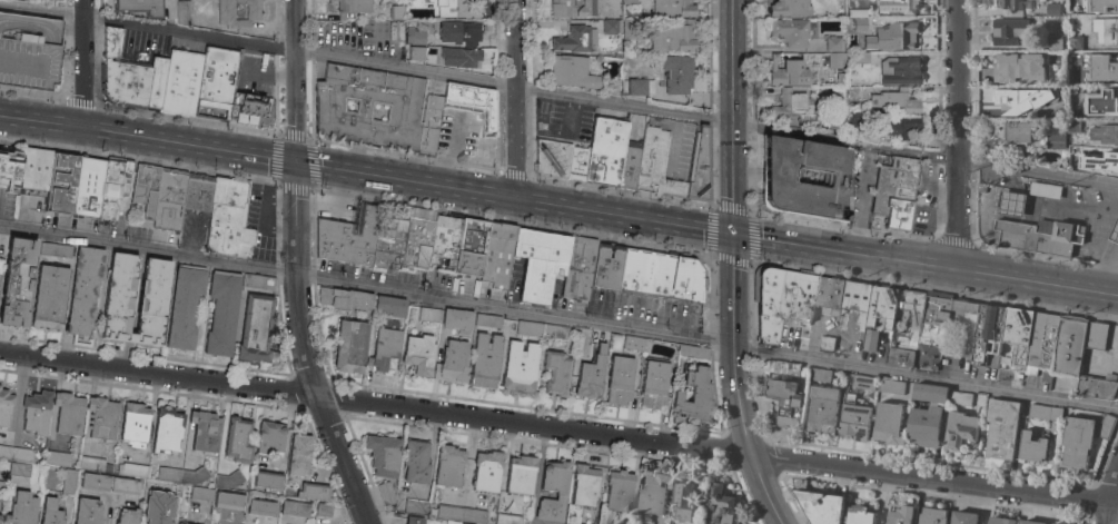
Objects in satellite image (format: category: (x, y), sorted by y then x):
building: (630, 2)
building: (1011, 4)
building: (902, 6)
building: (1101, 6)
building: (140, 7)
building: (354, 7)
building: (572, 8)
building: (674, 8)
building: (789, 8)
building: (456, 9)
building: (1052, 9)
building: (181, 11)
building: (226, 11)
building: (397, 12)
building: (860, 23)
building: (612, 26)
building: (632, 27)
building: (791, 30)
building: (1106, 30)
building: (1009, 31)
building: (413, 32)
building: (458, 32)
building: (674, 37)
building: (899, 37)
building: (575, 39)
building: (1055, 41)
building: (1075, 42)
building: (833, 43)
building: (29, 50)
building: (412, 52)
building: (455, 55)
building: (1105, 55)
building: (861, 57)
building: (835, 59)
road: (85, 63)
building: (1003, 66)
building: (1111, 68)
building: (900, 70)
building: (572, 71)
building: (788, 71)
building: (677, 73)
building: (131, 76)
building: (1046, 77)
building: (841, 79)
building: (1081, 79)
road: (296, 80)
building: (180, 82)
building: (215, 82)
building: (611, 85)
building: (640, 86)
building: (1117, 91)
building: (838, 92)
road: (558, 93)
building: (1091, 96)
road: (518, 98)
building: (1022, 99)
building: (471, 101)
building: (896, 101)
building: (797, 106)
building: (253, 107)
building: (1055, 107)
building: (413, 108)
building: (1082, 109)
building: (1115, 109)
building: (852, 115)
road: (733, 118)
road: (42, 121)
building: (1074, 123)
building: (835, 127)
building: (899, 127)
building: (1105, 134)
road: (958, 136)
building: (1011, 136)
building: (1055, 141)
road: (463, 142)
road: (190, 145)
building: (606, 151)
building: (1074, 155)
building: (552, 159)
traffic signals: (296, 161)
building: (630, 164)
building: (577, 165)
building: (656, 165)
building: (1101, 165)
building: (700, 166)
building: (34, 168)
building: (8, 175)
building: (804, 176)
building: (69, 185)
building: (87, 186)
building: (982, 187)
building: (115, 188)
building: (145, 188)
building: (1045, 190)
building: (896, 192)
building: (197, 194)
road: (515, 197)
building: (169, 199)
road: (861, 199)
building: (1012, 204)
road: (1088, 209)
building: (228, 219)
building: (1115, 233)
building: (348, 236)
traffic signals: (735, 236)
building: (1040, 236)
building: (429, 241)
building: (387, 244)
building: (469, 247)
building: (56, 249)
road: (848, 253)
building: (497, 255)
building: (538, 264)
building: (605, 266)
building: (577, 267)
road: (1106, 271)
building: (659, 275)
building: (17, 280)
building: (257, 281)
road: (1038, 284)
building: (85, 288)
building: (829, 295)
building: (49, 296)
building: (118, 296)
building: (344, 297)
building: (780, 298)
building: (857, 300)
building: (152, 303)
building: (185, 305)
building: (389, 305)
building: (882, 306)
building: (222, 312)
building: (429, 314)
road: (558, 317)
building: (456, 318)
building: (487, 319)
building: (528, 328)
building: (256, 329)
building: (908, 330)
building: (555, 332)
building: (988, 333)
building: (1018, 335)
building: (1097, 335)
building: (928, 337)
building: (870, 340)
building: (1043, 340)
building: (633, 342)
building: (827, 343)
building: (349, 345)
building: (1070, 345)
road: (735, 346)
road: (307, 347)
building: (385, 347)
building: (693, 352)
building: (418, 353)
building: (451, 360)
building: (484, 360)
building: (518, 366)
building: (781, 367)
building: (555, 373)
building: (591, 374)
building: (820, 375)
building: (619, 378)
building: (863, 382)
building: (653, 385)
building: (891, 386)
building: (1098, 387)
building: (930, 393)
building: (695, 396)
building: (960, 398)
building: (784, 401)
road: (375, 404)
building: (6, 405)
building: (822, 408)
building: (37, 412)
building: (1045, 412)
building: (68, 413)
building: (102, 417)
building: (854, 417)
building: (889, 423)
building: (135, 424)
building: (924, 426)
building: (1106, 426)
building: (1001, 428)
building: (167, 429)
building: (205, 431)
building: (960, 431)
building: (269, 437)
building: (238, 439)
building: (1077, 444)
building: (1032, 447)
building: (16, 453)
building: (383, 454)
building: (298, 455)
building: (58, 457)
building: (415, 461)
building: (95, 464)
building: (448, 465)
building: (19, 468)
building: (133, 469)
building: (486, 469)
building: (169, 473)
building: (520, 474)
building: (195, 475)
building: (229, 479)
road: (933, 479)
building: (69, 481)
building: (268, 481)
building: (109, 483)
building: (585, 484)
building: (171, 490)
building: (619, 490)
road: (765, 490)
building: (313, 491)
building: (561, 492)
building: (201, 493)
building: (654, 493)
building: (385, 494)
building: (228, 500)
building: (684, 500)
road: (1112, 502)
building: (415, 506)
building: (720, 506)
building: (821, 506)
building: (261, 507)
building: (21, 508)
building: (294, 508)
building: (50, 510)
building: (324, 510)
building: (87, 511)
building: (461, 513)
building: (860, 515)
building: (900, 515)
building: (127, 516)
building: (932, 516)
building: (154, 517)
building: (963, 517)
building: (507, 518)
building: (414, 520)
building: (1000, 521)
building: (455, 522)
building: (1030, 522)
building: (177, 523)
building: (182, 523)
building: (1056, 523)

